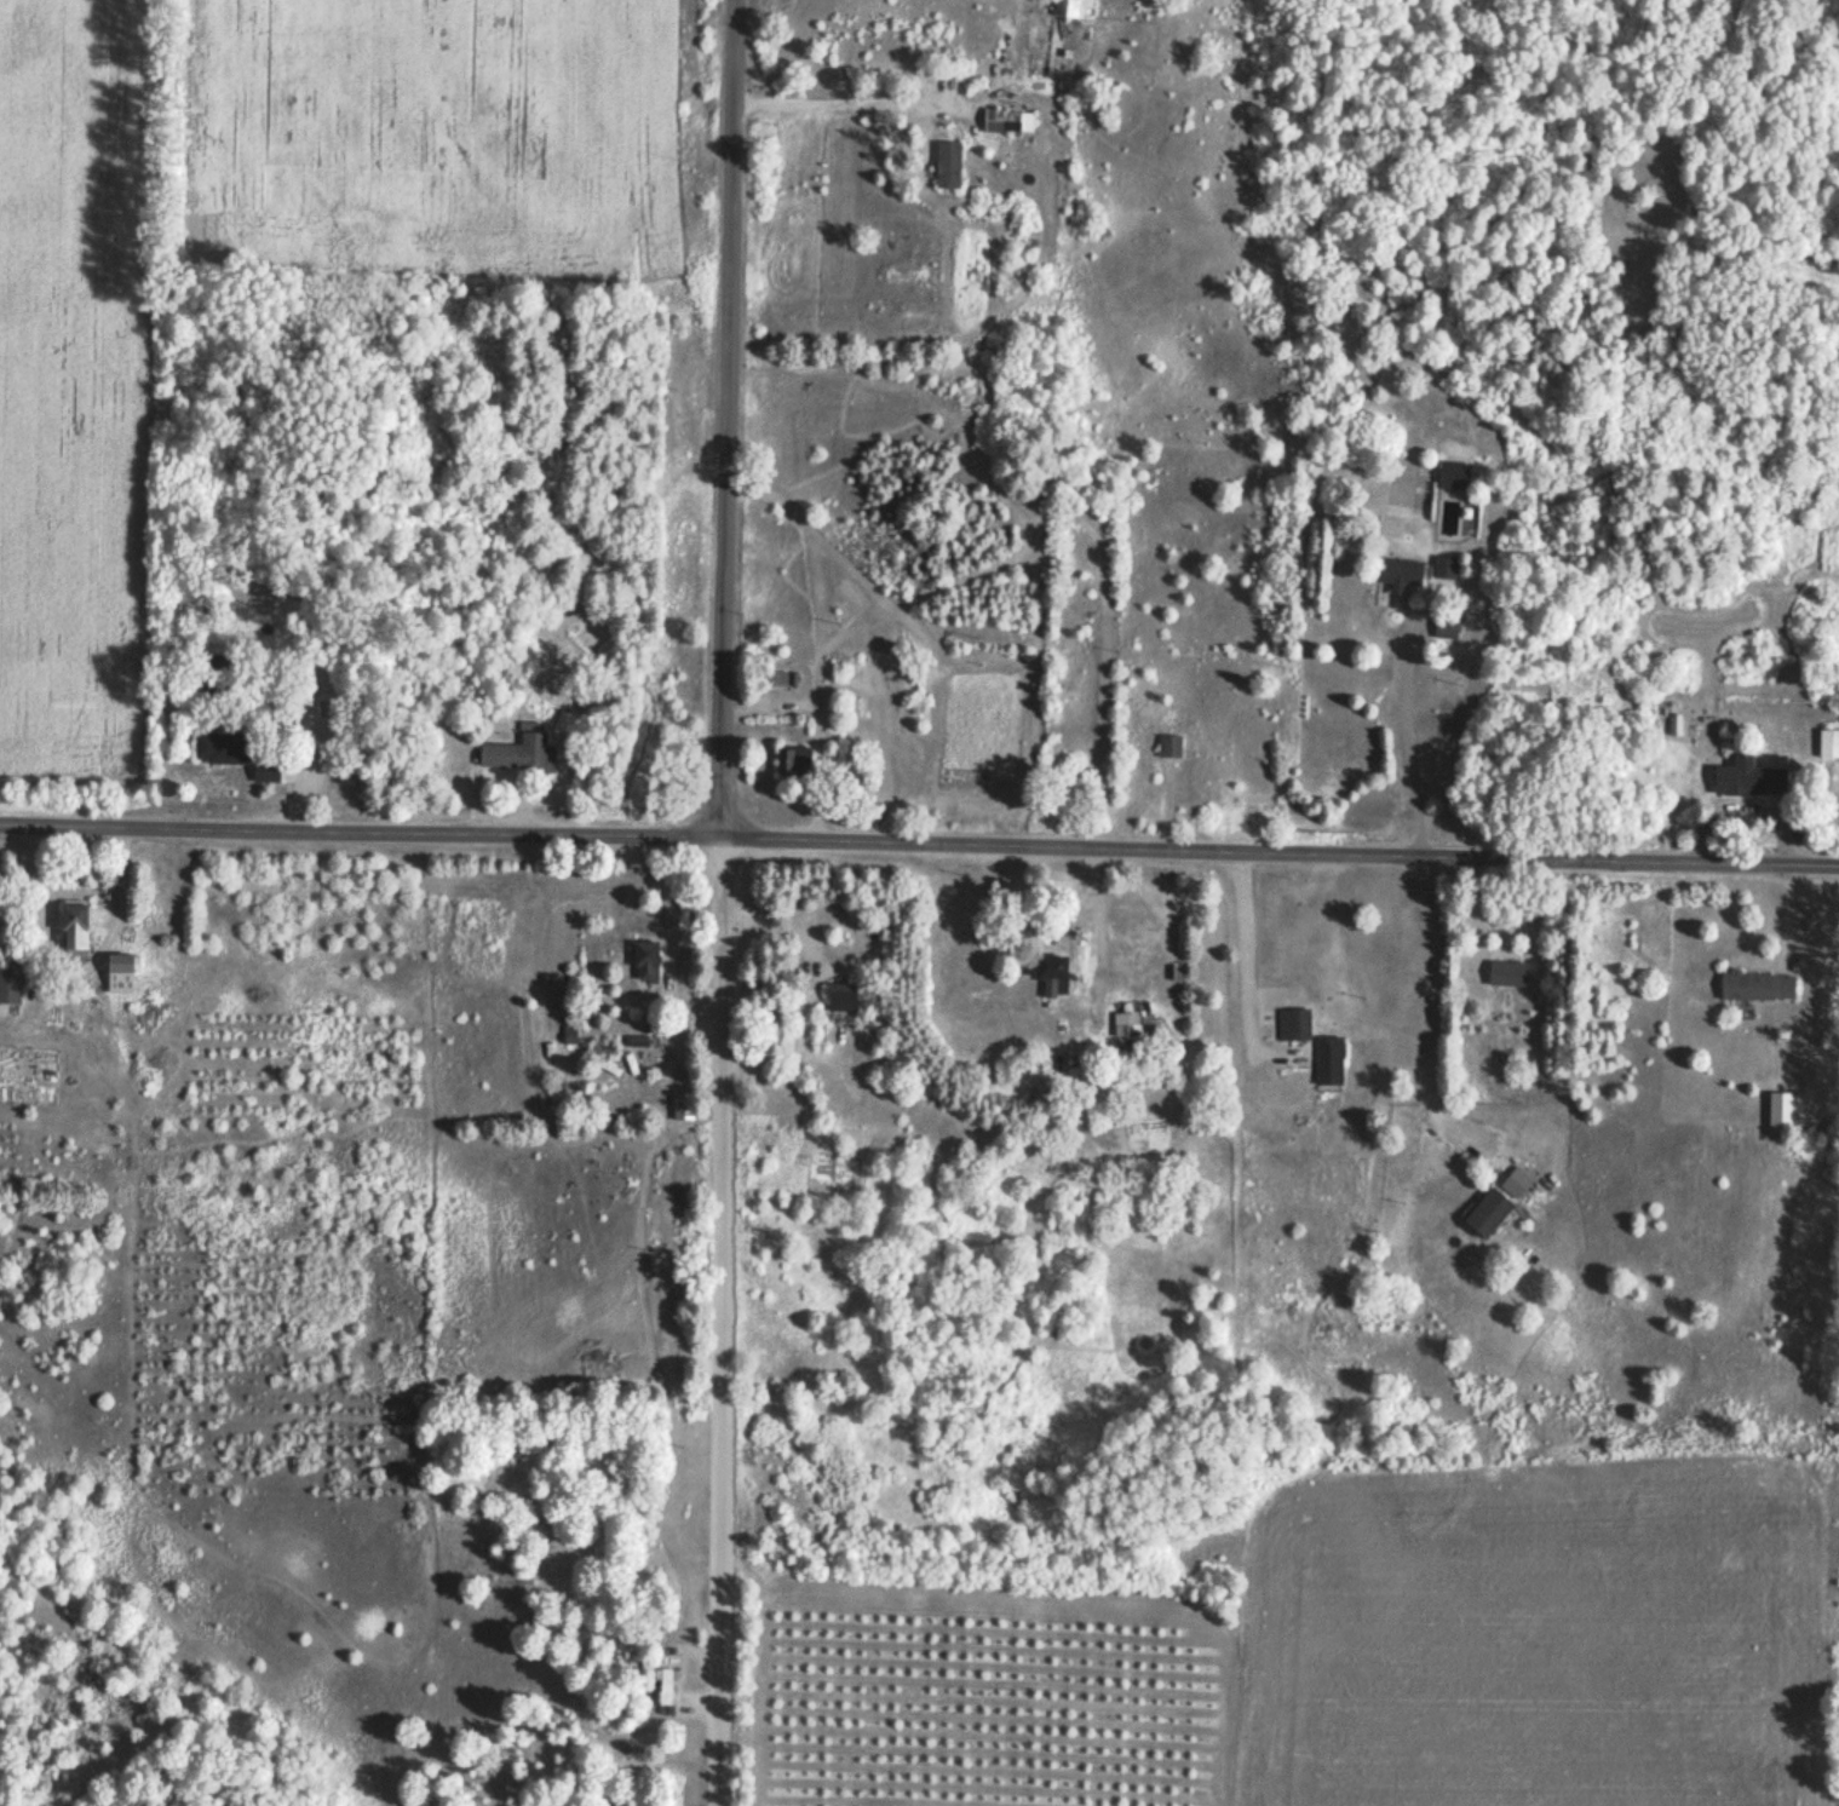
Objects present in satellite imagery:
building: (1064, 11)
building: (1005, 122)
building: (942, 167)
road: (725, 420)
building: (1449, 478)
building: (1442, 571)
building: (1397, 577)
building: (1442, 629)
building: (769, 681)
building: (1828, 738)
building: (1166, 748)
building: (219, 750)
building: (512, 755)
building: (791, 764)
building: (1746, 781)
road: (919, 844)
road: (1483, 916)
road: (1105, 928)
building: (70, 930)
road: (1252, 951)
building: (643, 964)
building: (1041, 967)
building: (1505, 977)
building: (10, 989)
building: (1754, 989)
building: (837, 999)
building: (1283, 1024)
road: (1436, 1029)
building: (1326, 1065)
building: (680, 1109)
building: (1512, 1185)
building: (1483, 1214)
road: (718, 1323)
building: (662, 1690)

